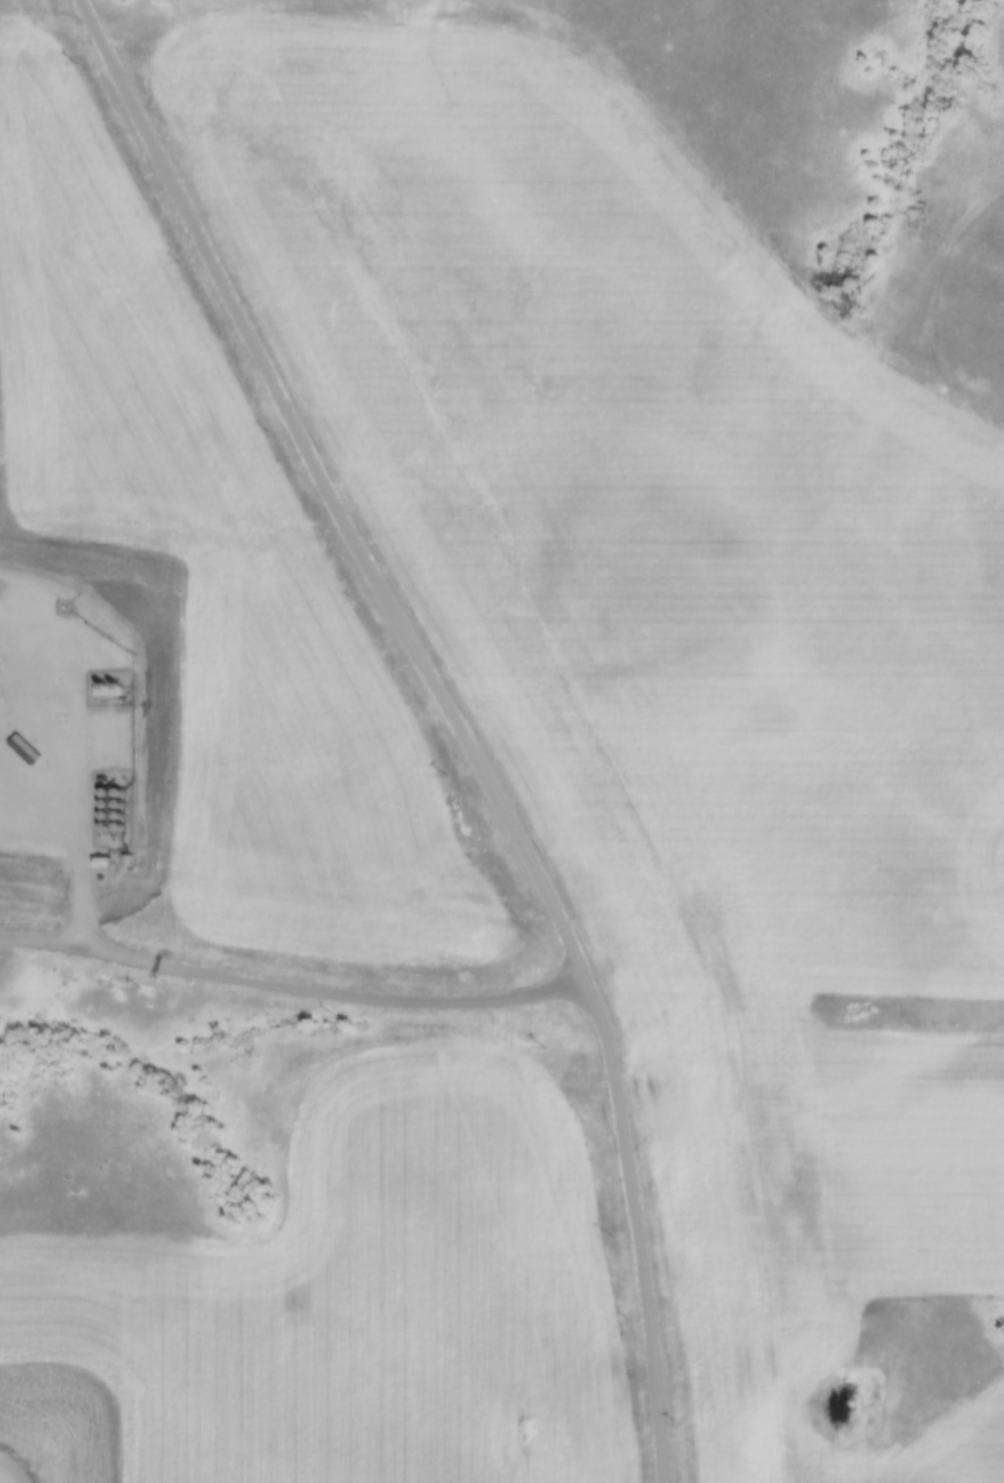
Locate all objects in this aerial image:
road: (456, 717)
road: (290, 971)

